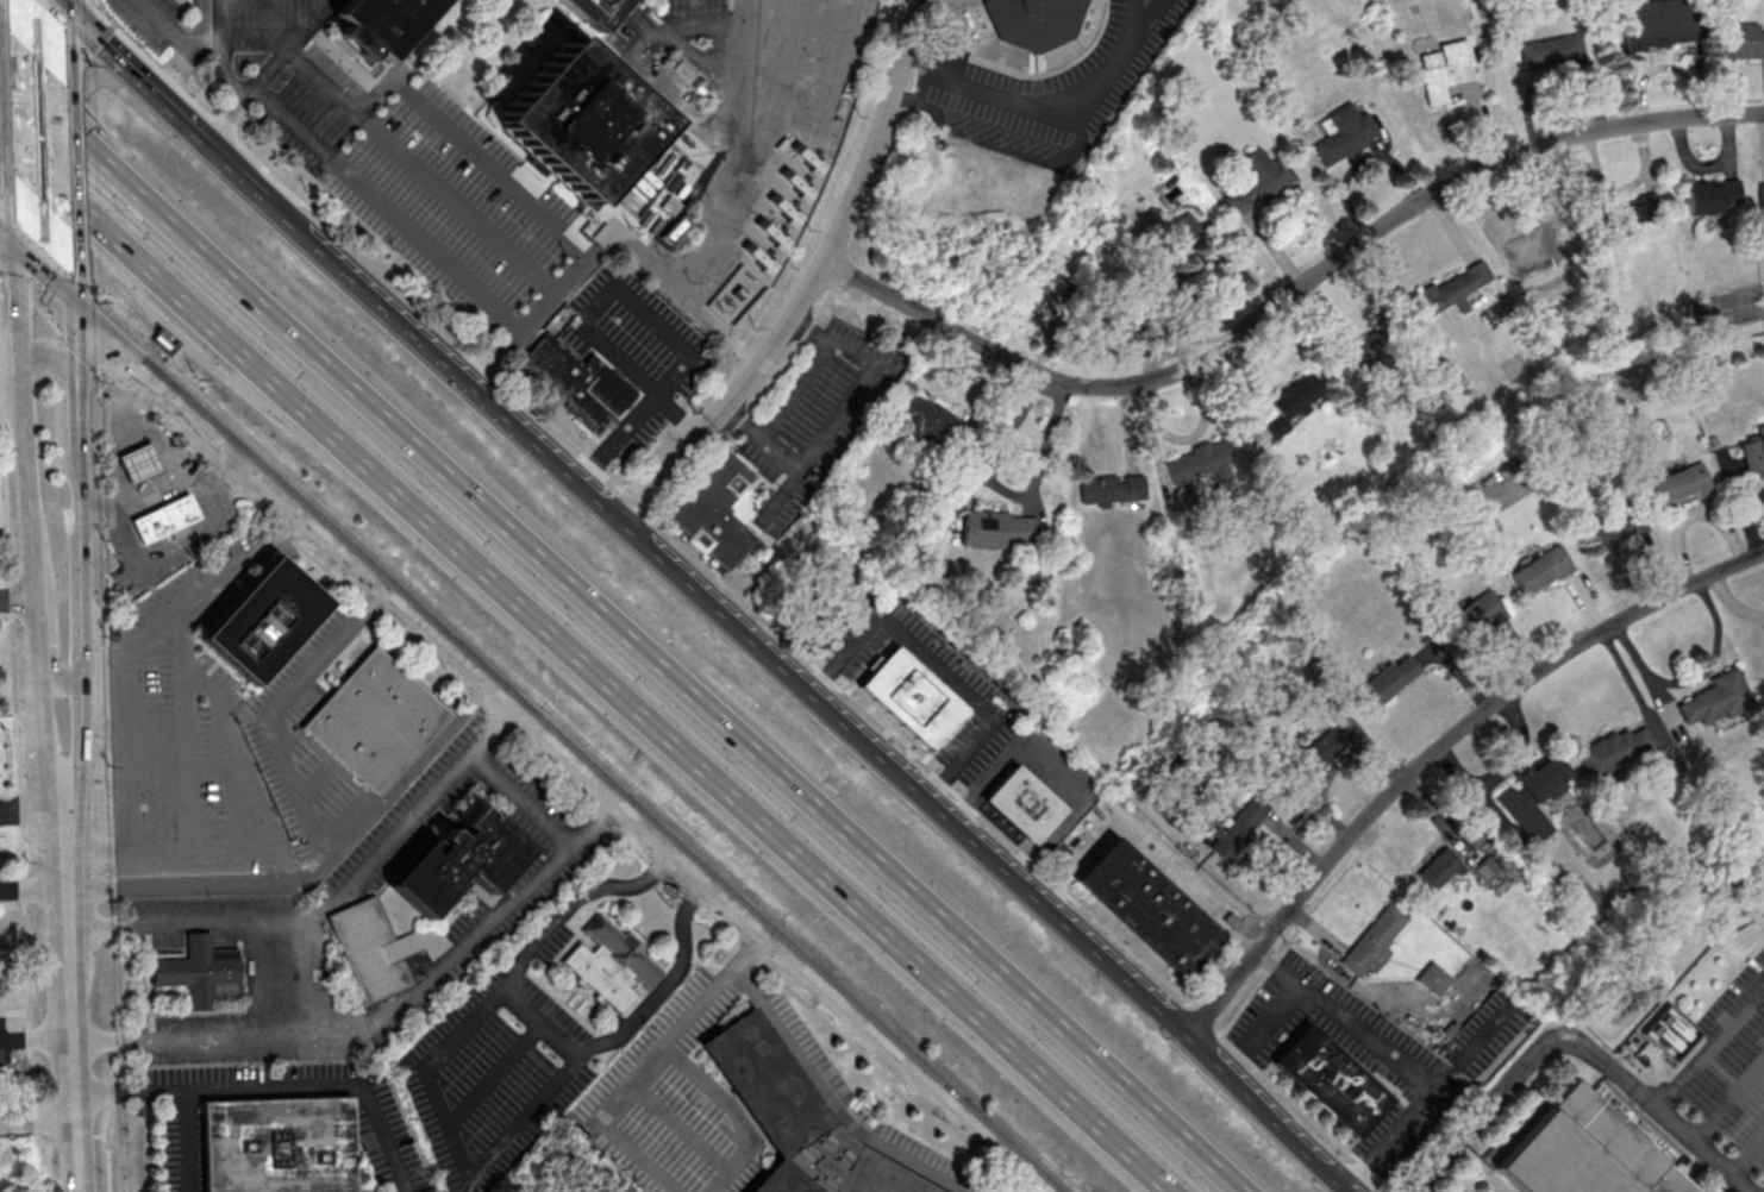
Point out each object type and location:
road: (58, 1)
road: (58, 1)
traffic signals: (60, 2)
building: (594, 11)
road: (14, 18)
building: (384, 20)
building: (1034, 21)
building: (1660, 24)
road: (312, 26)
road: (176, 36)
building: (1740, 38)
road: (62, 44)
building: (1552, 51)
road: (227, 54)
road: (742, 55)
building: (1446, 70)
building: (687, 73)
road: (18, 107)
road: (1053, 117)
building: (580, 119)
building: (1345, 132)
road: (65, 155)
road: (421, 172)
building: (1258, 182)
building: (1712, 196)
building: (1762, 196)
building: (1625, 212)
road: (20, 213)
building: (1183, 234)
road: (10, 237)
traffic signals: (20, 247)
road: (67, 256)
road: (43, 269)
road: (811, 284)
building: (1457, 286)
traffic signals: (67, 290)
power substation: (736, 296)
building: (1045, 296)
road: (1288, 297)
road: (594, 303)
building: (1127, 314)
building: (1366, 350)
road: (71, 381)
building: (578, 383)
building: (1294, 402)
road: (843, 404)
road: (143, 416)
parking lot: (819, 419)
building: (928, 422)
road: (26, 427)
road: (758, 444)
road: (168, 450)
building: (1753, 451)
building: (1202, 462)
building: (139, 464)
road: (115, 473)
road: (162, 485)
building: (1679, 487)
road: (584, 488)
road: (1002, 489)
building: (1114, 490)
building: (715, 513)
building: (164, 520)
building: (1615, 526)
road: (60, 528)
building: (996, 528)
road: (80, 537)
road: (180, 544)
road: (471, 559)
building: (1541, 570)
road: (739, 596)
road: (33, 601)
building: (1478, 614)
building: (261, 623)
road: (619, 626)
road: (132, 636)
parking lot: (939, 667)
road: (939, 667)
building: (1393, 677)
parking lot: (977, 697)
building: (1716, 697)
building: (911, 699)
road: (275, 708)
building: (375, 721)
road: (70, 728)
road: (559, 741)
building: (1610, 749)
road: (1439, 751)
building: (1316, 754)
road: (188, 758)
road: (1053, 771)
road: (244, 776)
road: (400, 783)
building: (1534, 797)
building: (1021, 807)
road: (36, 809)
road: (598, 822)
building: (1240, 830)
road: (1147, 852)
road: (107, 854)
building: (461, 861)
building: (1487, 867)
building: (1440, 868)
road: (74, 874)
road: (190, 887)
road: (37, 892)
road: (334, 896)
road: (75, 909)
building: (1146, 910)
building: (1372, 941)
building: (613, 964)
building: (201, 971)
building: (1432, 977)
road: (257, 978)
road: (419, 996)
road: (546, 1023)
building: (1672, 1033)
road: (39, 1041)
road: (1550, 1041)
road: (1710, 1052)
road: (79, 1059)
road: (651, 1061)
road: (1393, 1061)
building: (1331, 1078)
road: (1233, 1079)
road: (282, 1081)
road: (1061, 1091)
road: (828, 1099)
road: (731, 1113)
road: (40, 1119)
building: (796, 1119)
road: (678, 1129)
building: (280, 1144)
road: (457, 1148)
building: (1584, 1152)
road: (1704, 1152)
road: (1428, 1163)

